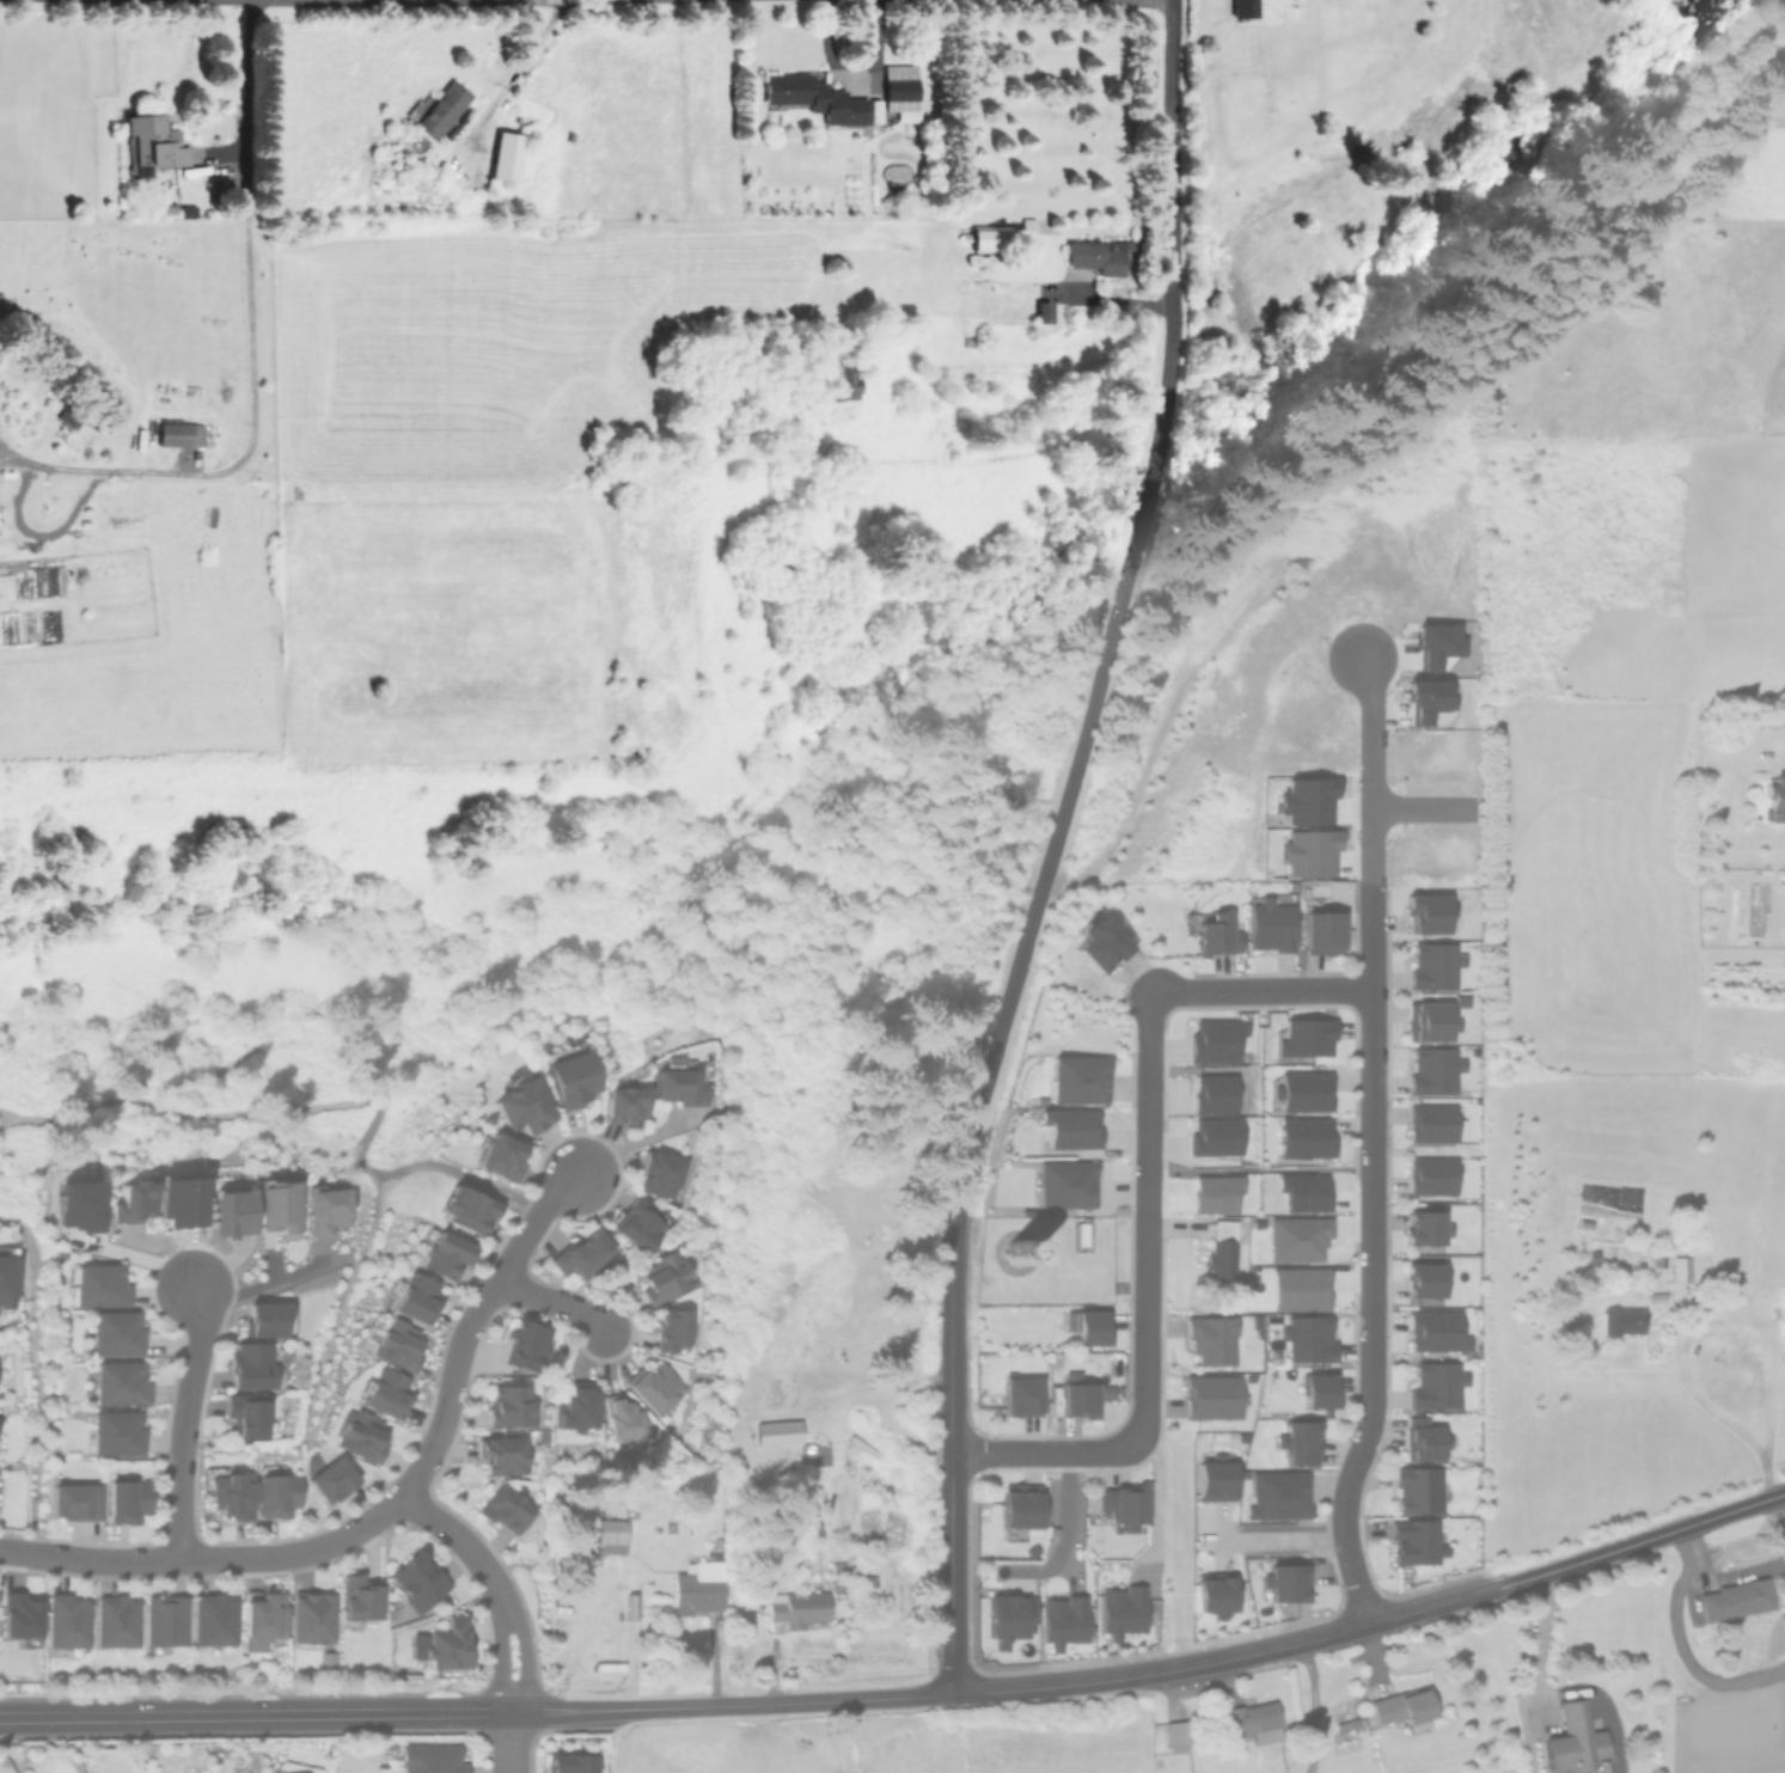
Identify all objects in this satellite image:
road: (246, 1)
road: (375, 1)
building: (1243, 8)
road: (514, 71)
building: (900, 91)
building: (815, 98)
building: (441, 110)
building: (152, 143)
building: (505, 155)
road: (1173, 225)
building: (983, 240)
road: (1107, 299)
building: (845, 383)
road: (251, 408)
building: (179, 434)
road: (63, 469)
building: (1428, 699)
building: (1306, 800)
road: (1424, 807)
road: (1060, 830)
building: (1308, 852)
building: (1428, 912)
building: (1270, 925)
building: (1321, 933)
building: (1216, 935)
building: (1099, 943)
building: (1433, 965)
road: (1260, 991)
building: (1429, 1021)
building: (1306, 1038)
building: (1215, 1040)
building: (1433, 1070)
building: (569, 1078)
building: (1078, 1078)
building: (677, 1083)
road: (1368, 1089)
building: (1302, 1092)
building: (1214, 1094)
building: (623, 1105)
building: (522, 1106)
building: (1431, 1123)
building: (1070, 1127)
building: (1215, 1136)
building: (1304, 1137)
building: (499, 1156)
building: (660, 1174)
building: (1431, 1175)
building: (1065, 1184)
building: (1303, 1192)
building: (1216, 1193)
building: (130, 1202)
building: (277, 1206)
building: (324, 1210)
building: (466, 1210)
building: (231, 1212)
road: (1144, 1219)
building: (638, 1224)
building: (1425, 1228)
building: (271, 1237)
building: (1297, 1239)
building: (581, 1254)
building: (444, 1255)
building: (1017, 1255)
building: (1221, 1259)
building: (1680, 1268)
building: (664, 1277)
building: (1423, 1279)
building: (7, 1282)
road: (262, 1284)
building: (100, 1285)
building: (1298, 1288)
building: (414, 1298)
road: (558, 1302)
building: (267, 1319)
road: (1726, 1320)
building: (1620, 1321)
building: (672, 1329)
building: (1436, 1331)
building: (117, 1333)
building: (1210, 1339)
building: (1307, 1339)
building: (397, 1345)
building: (526, 1345)
building: (251, 1367)
building: (121, 1383)
building: (1435, 1386)
building: (654, 1387)
building: (1318, 1390)
building: (386, 1393)
building: (1020, 1396)
building: (1210, 1396)
building: (1077, 1400)
building: (509, 1406)
building: (575, 1410)
building: (246, 1417)
road: (183, 1419)
building: (621, 1419)
building: (117, 1432)
building: (776, 1432)
building: (360, 1435)
building: (1422, 1439)
building: (1298, 1442)
road: (953, 1451)
building: (813, 1454)
road: (1044, 1454)
building: (502, 1455)
building: (331, 1479)
building: (1214, 1480)
building: (1416, 1490)
building: (276, 1494)
building: (1277, 1494)
building: (230, 1496)
building: (127, 1499)
building: (74, 1500)
road: (1156, 1502)
building: (1020, 1505)
building: (1123, 1505)
building: (505, 1509)
road: (386, 1514)
building: (610, 1536)
road: (1276, 1539)
building: (1414, 1541)
road: (1636, 1541)
road: (1350, 1571)
building: (417, 1581)
building: (1285, 1582)
road: (499, 1584)
building: (697, 1589)
building: (1214, 1596)
building: (359, 1597)
building: (1734, 1600)
building: (796, 1608)
building: (1121, 1610)
building: (19, 1615)
building: (1008, 1616)
building: (311, 1618)
building: (164, 1620)
building: (213, 1620)
building: (262, 1620)
building: (1063, 1620)
building: (66, 1621)
building: (115, 1621)
building: (447, 1644)
road: (1536, 1647)
road: (1223, 1662)
road: (732, 1704)
building: (1400, 1706)
road: (1313, 1707)
road: (255, 1713)
building: (1252, 1722)
building: (1175, 1737)
road: (511, 1742)
building: (1573, 1742)
building: (430, 1759)
building: (568, 1763)
building: (282, 1772)

